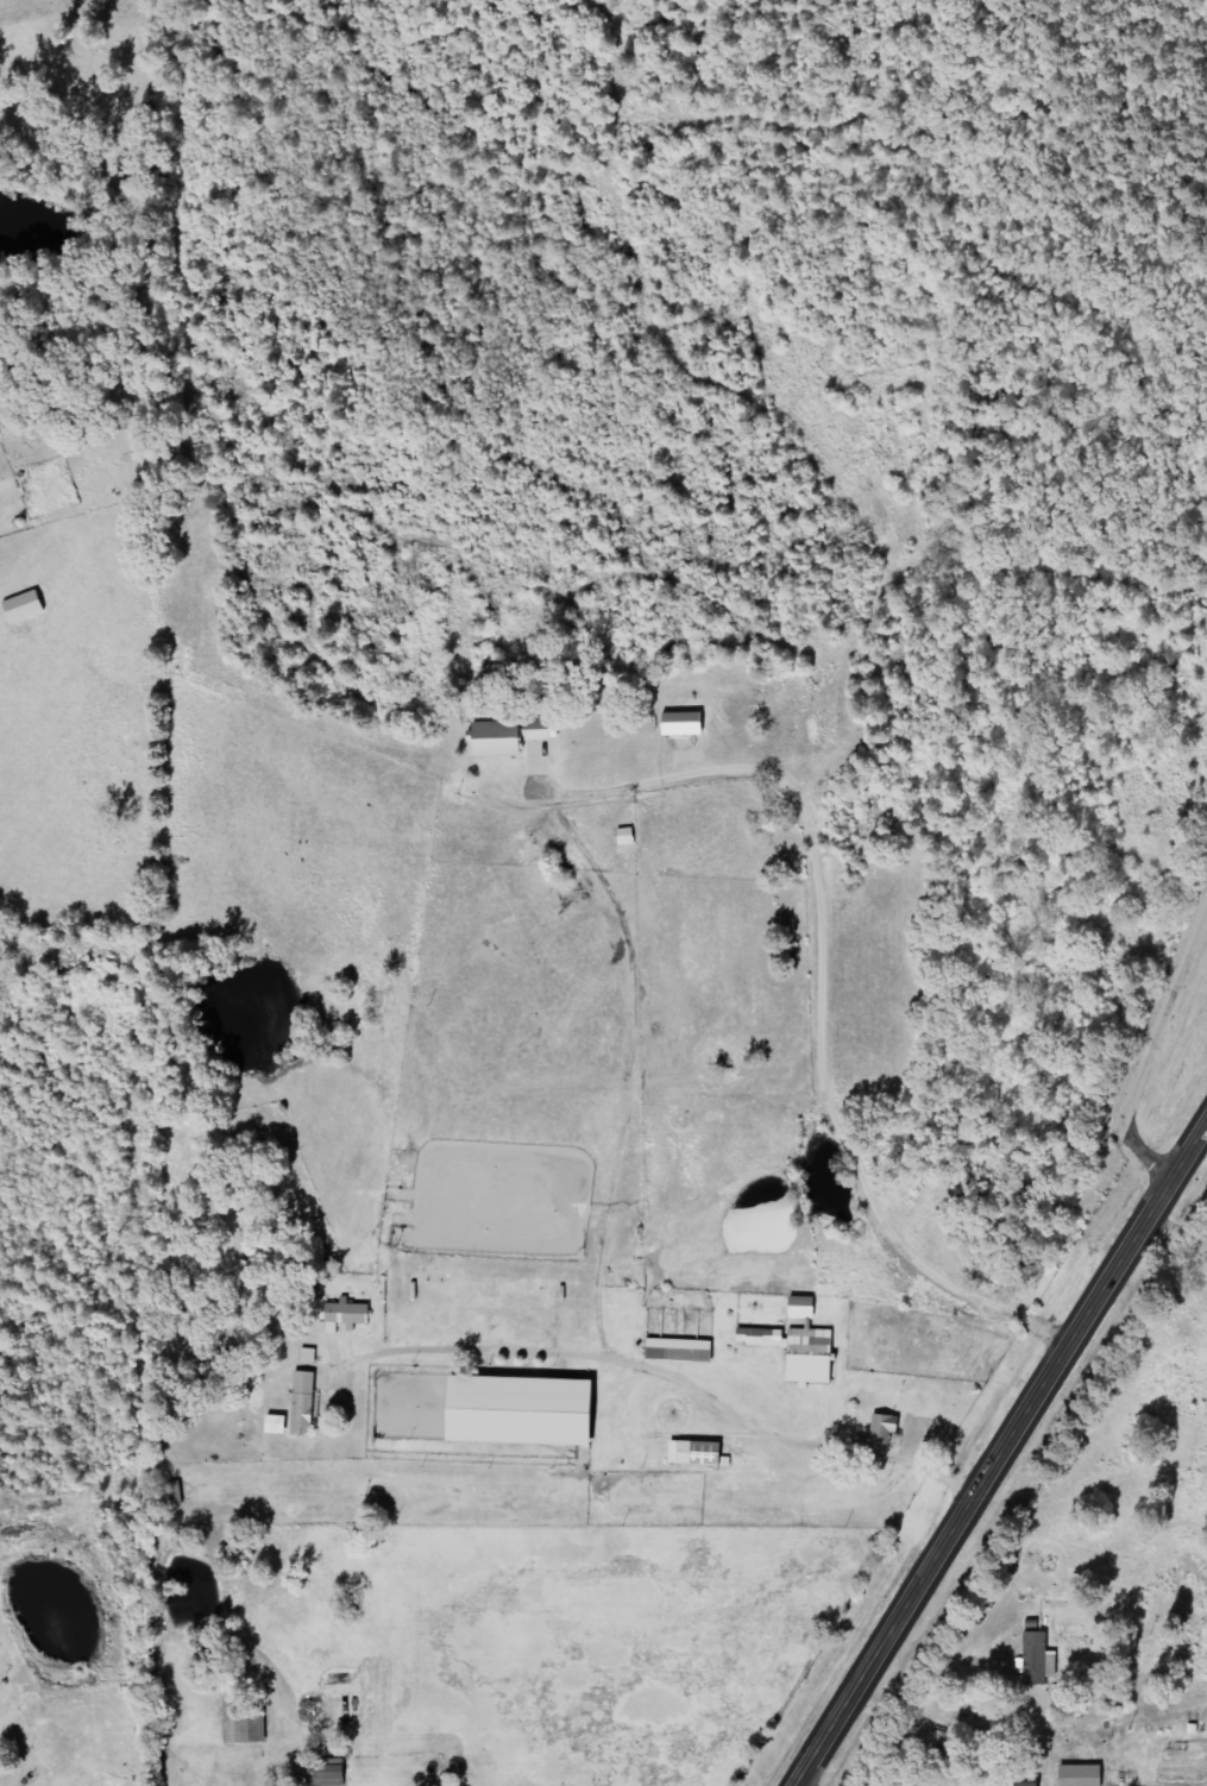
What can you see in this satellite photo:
building: (27, 606)
building: (534, 729)
building: (491, 737)
road: (1150, 1046)
road: (735, 1048)
road: (791, 1125)
road: (396, 1227)
building: (798, 1307)
building: (351, 1312)
building: (757, 1337)
building: (677, 1350)
building: (310, 1354)
building: (805, 1354)
road: (666, 1373)
building: (307, 1403)
building: (513, 1410)
building: (281, 1423)
building: (879, 1428)
building: (692, 1452)
road: (998, 1454)
building: (1033, 1656)
building: (333, 1774)
building: (1076, 1775)
building: (1023, 1784)

